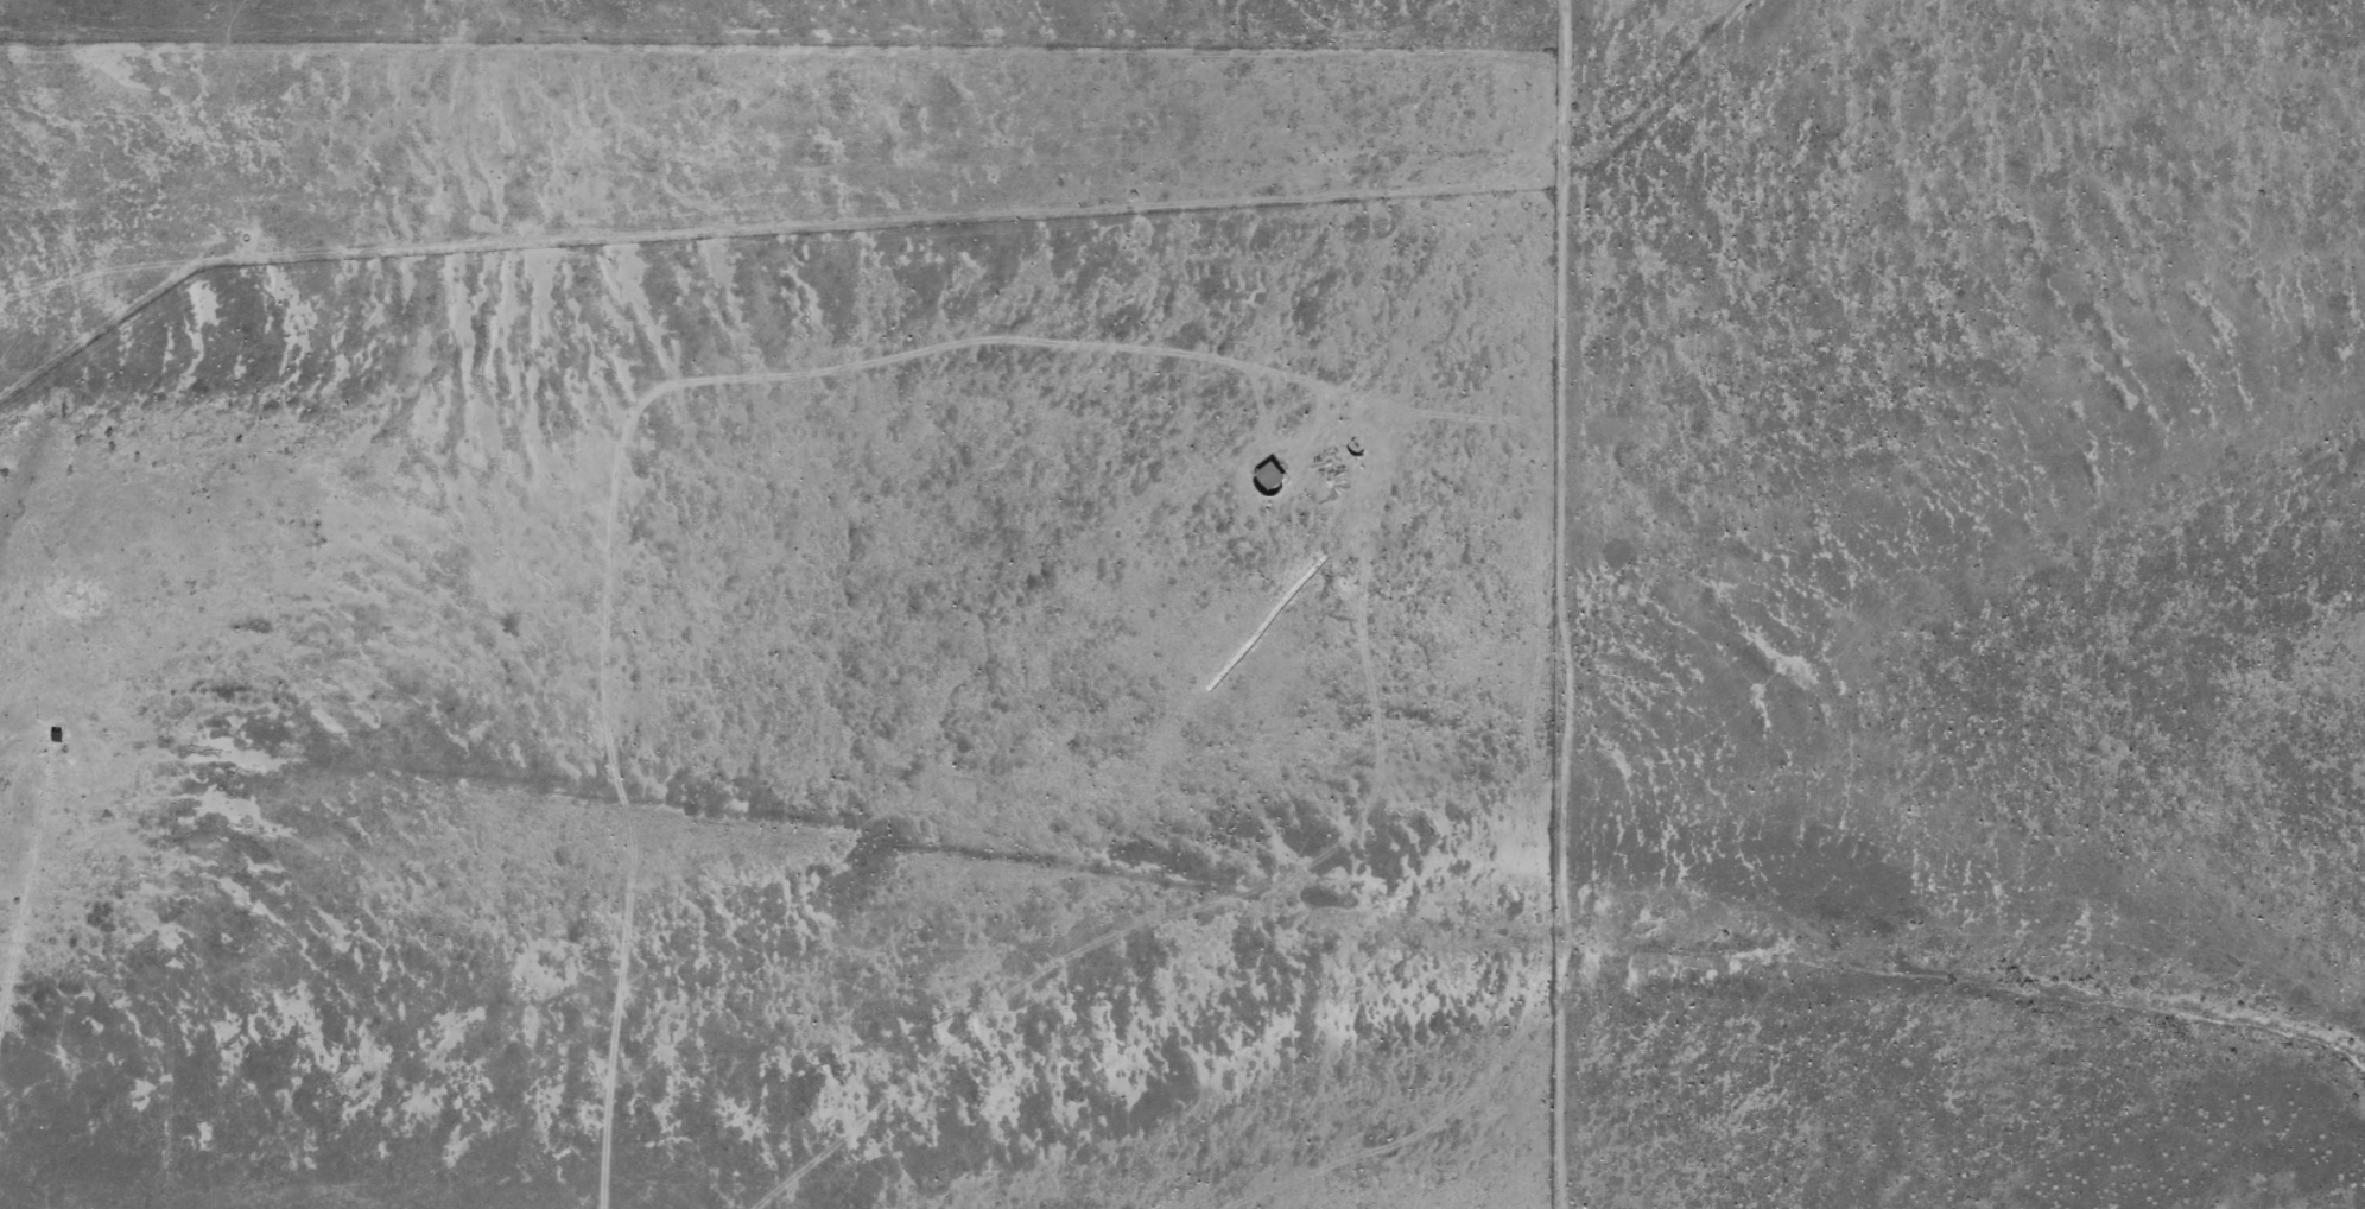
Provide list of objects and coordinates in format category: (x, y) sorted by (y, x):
road: (2151, 925)

